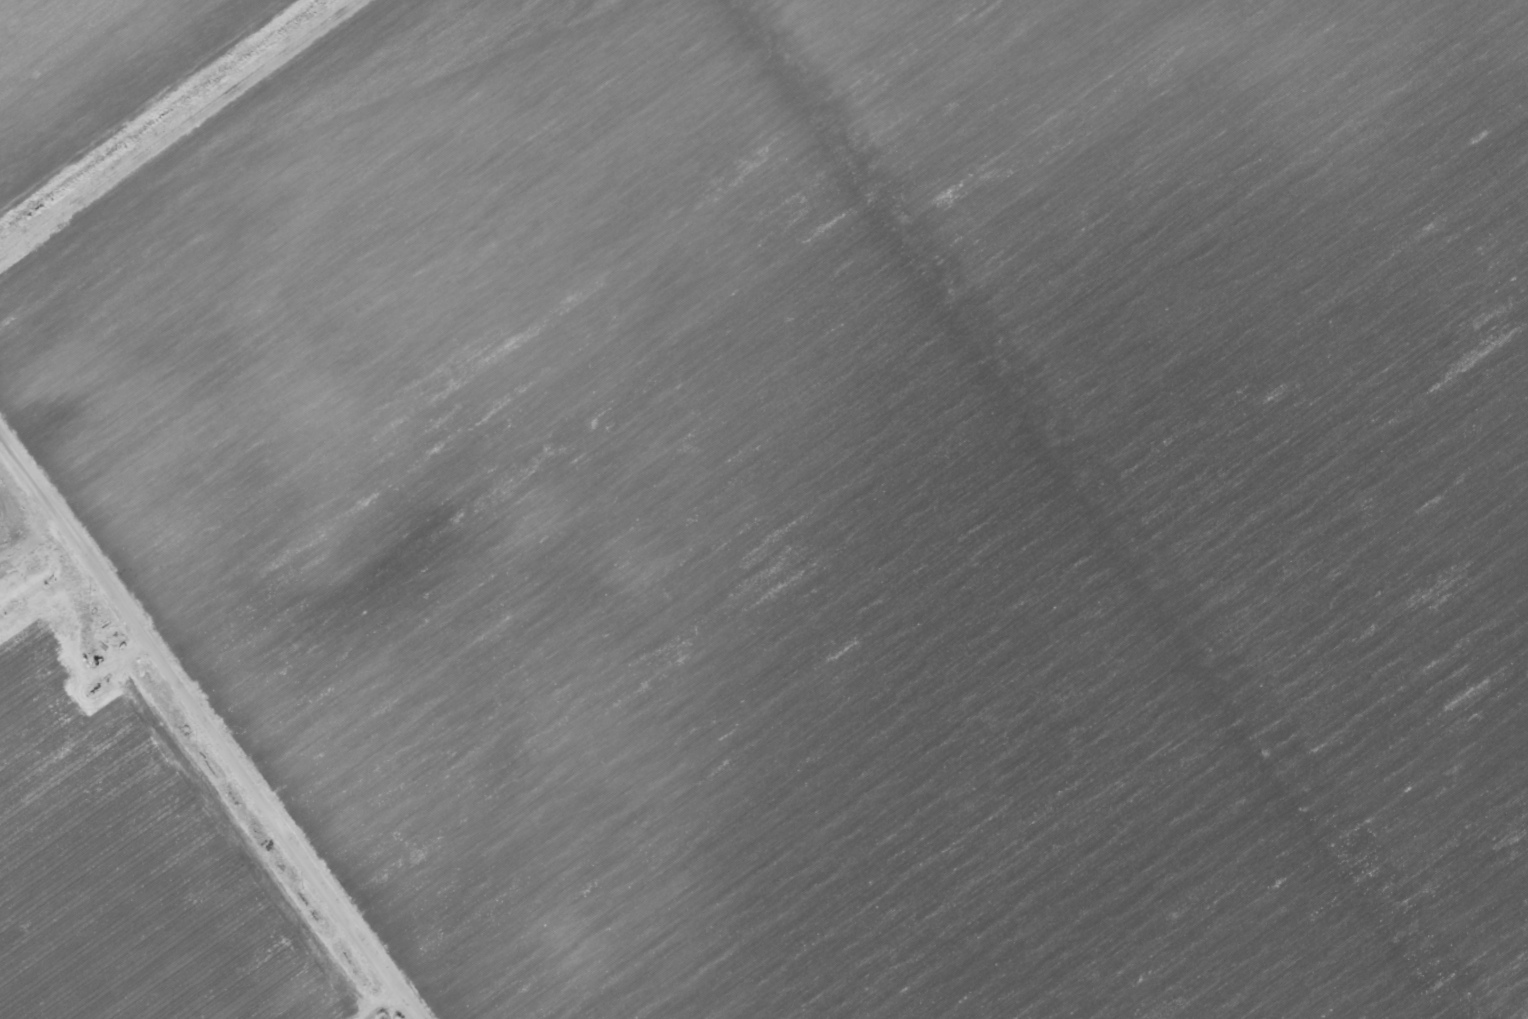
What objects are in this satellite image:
road: (182, 130)
road: (214, 723)

